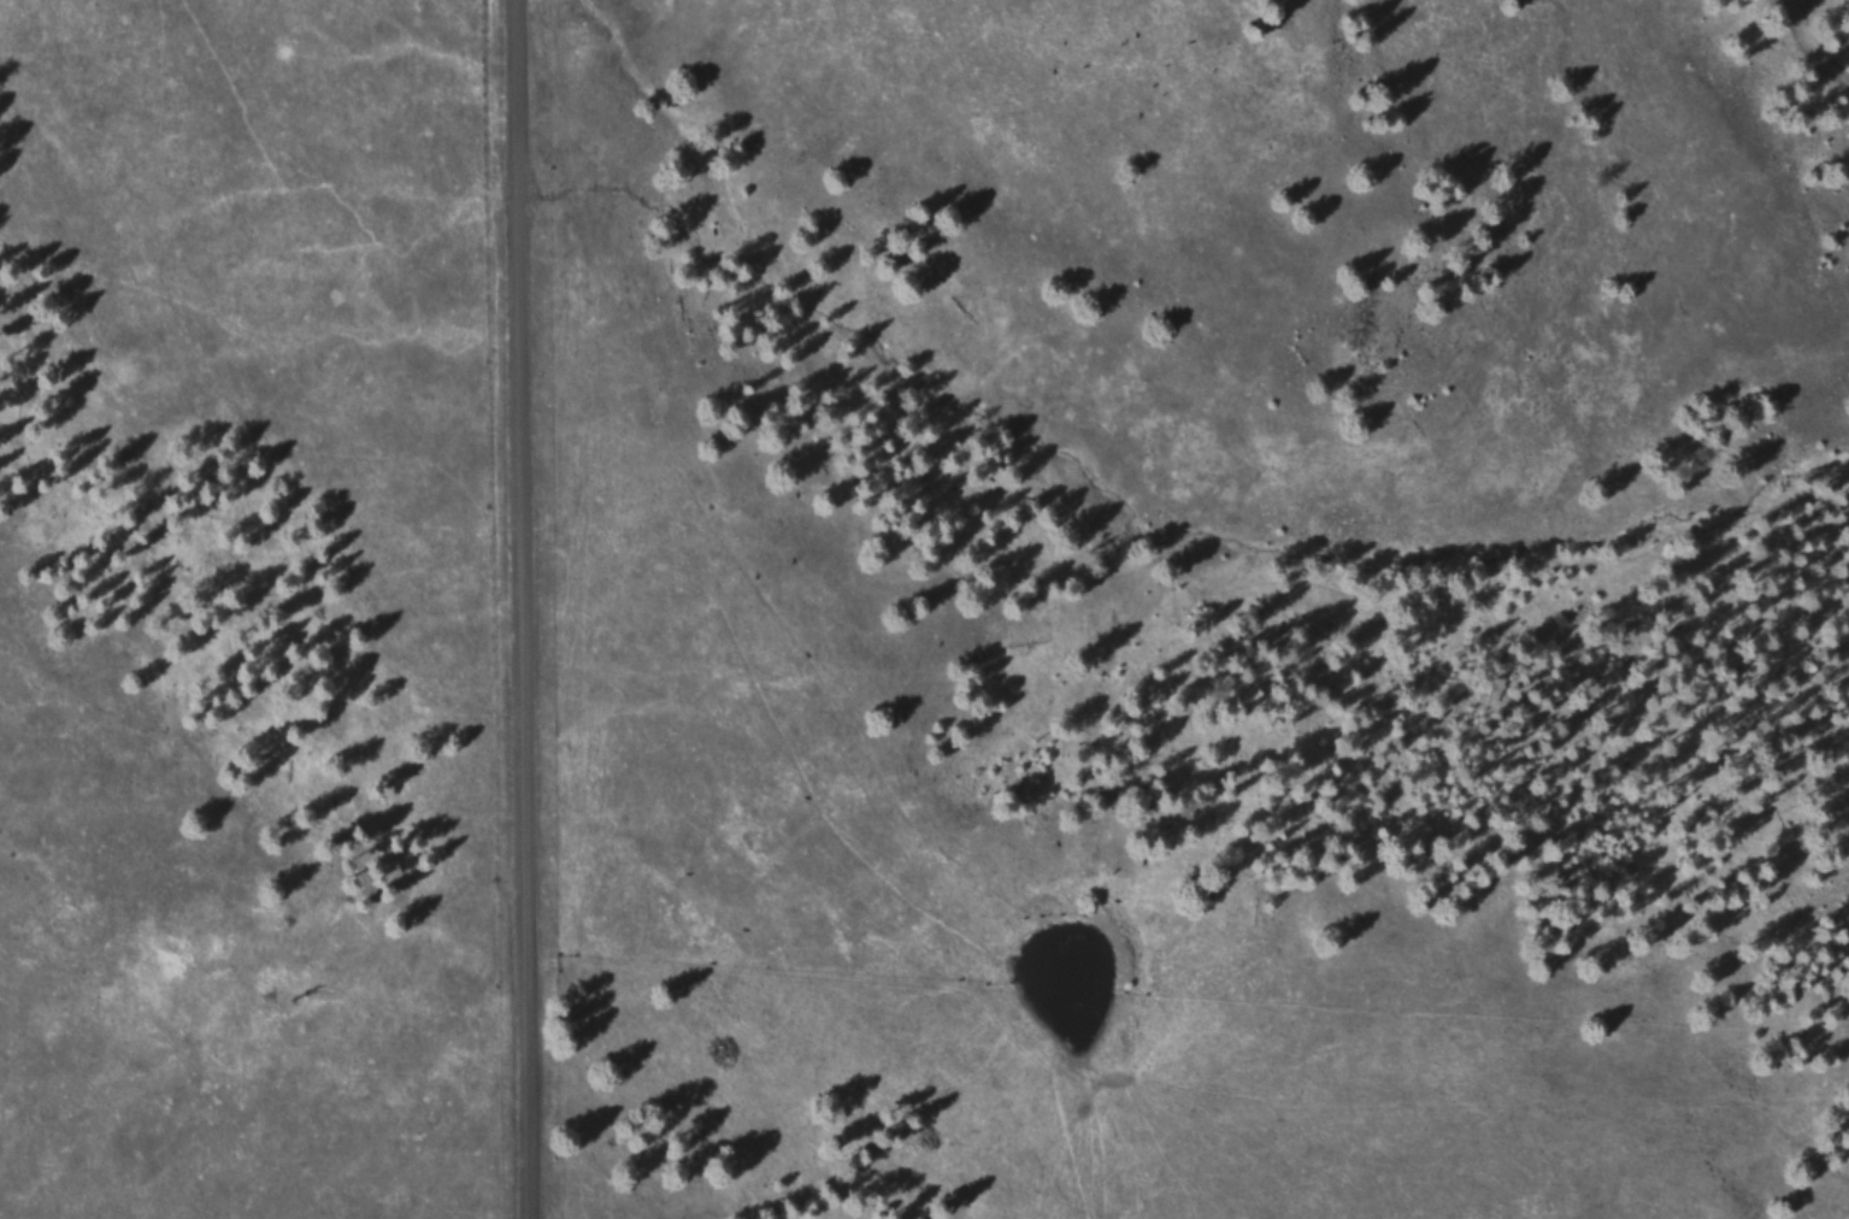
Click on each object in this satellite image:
road: (553, 609)

